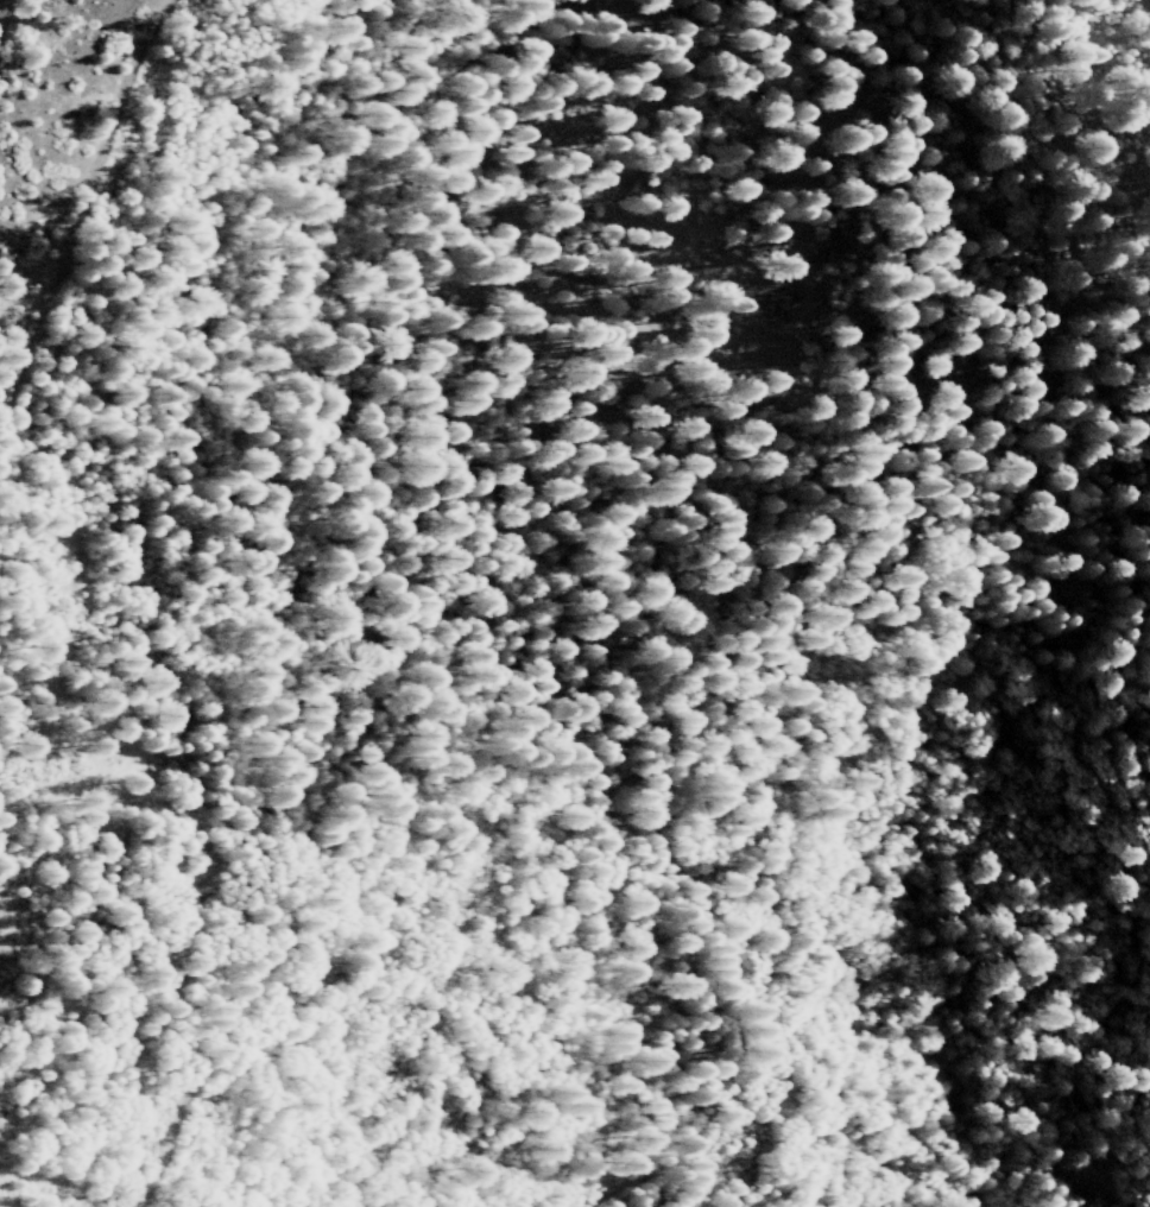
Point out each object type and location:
road: (88, 220)
road: (986, 424)
road: (367, 541)
road: (612, 714)

